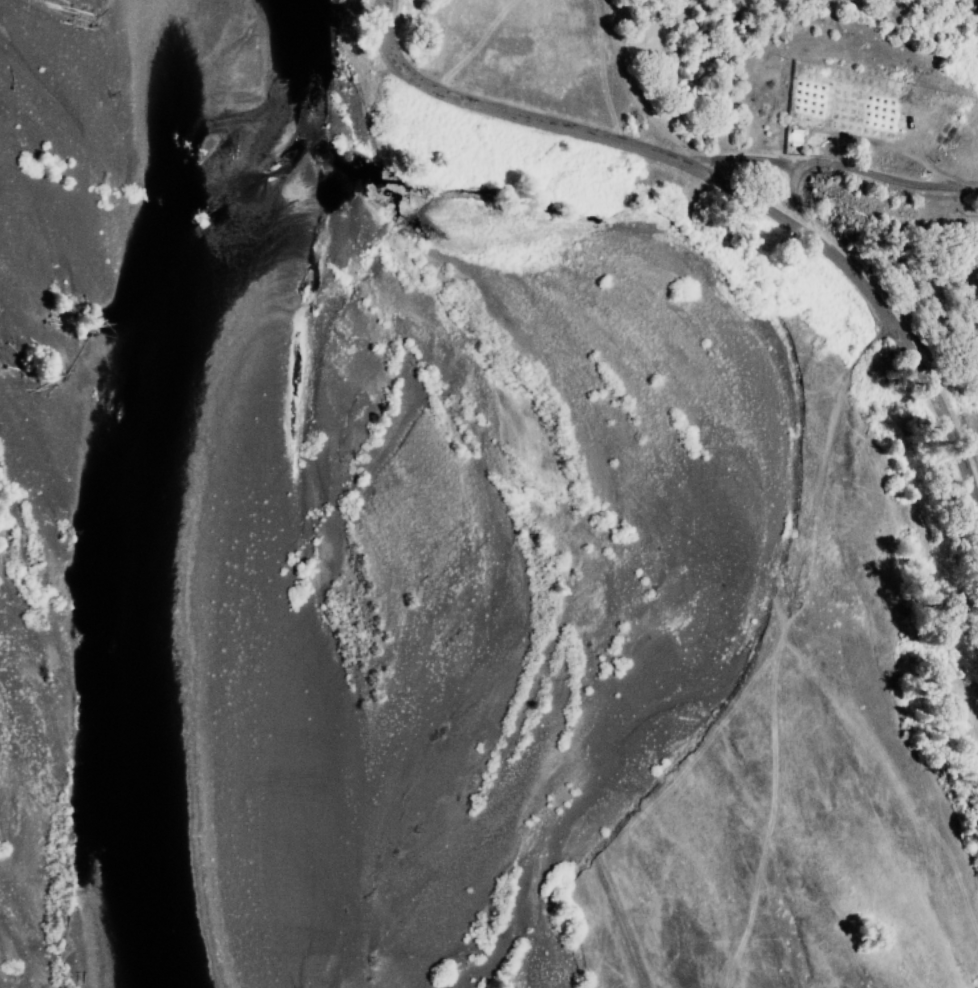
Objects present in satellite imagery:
road: (398, 51)
road: (853, 170)
road: (782, 224)

